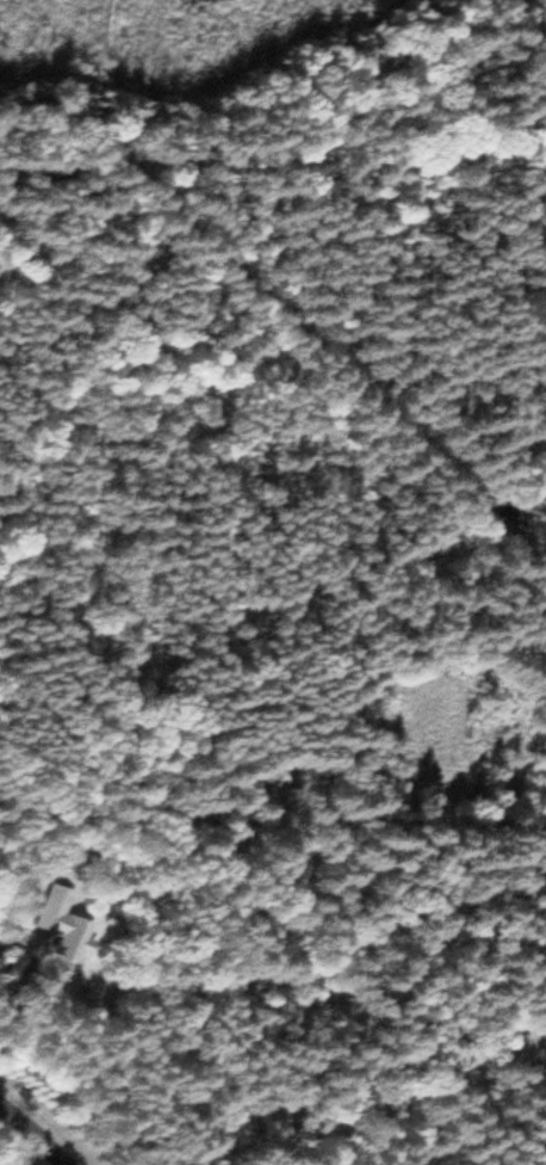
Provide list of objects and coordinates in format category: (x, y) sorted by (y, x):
building: (55, 925)
road: (279, 1012)
road: (27, 1138)

